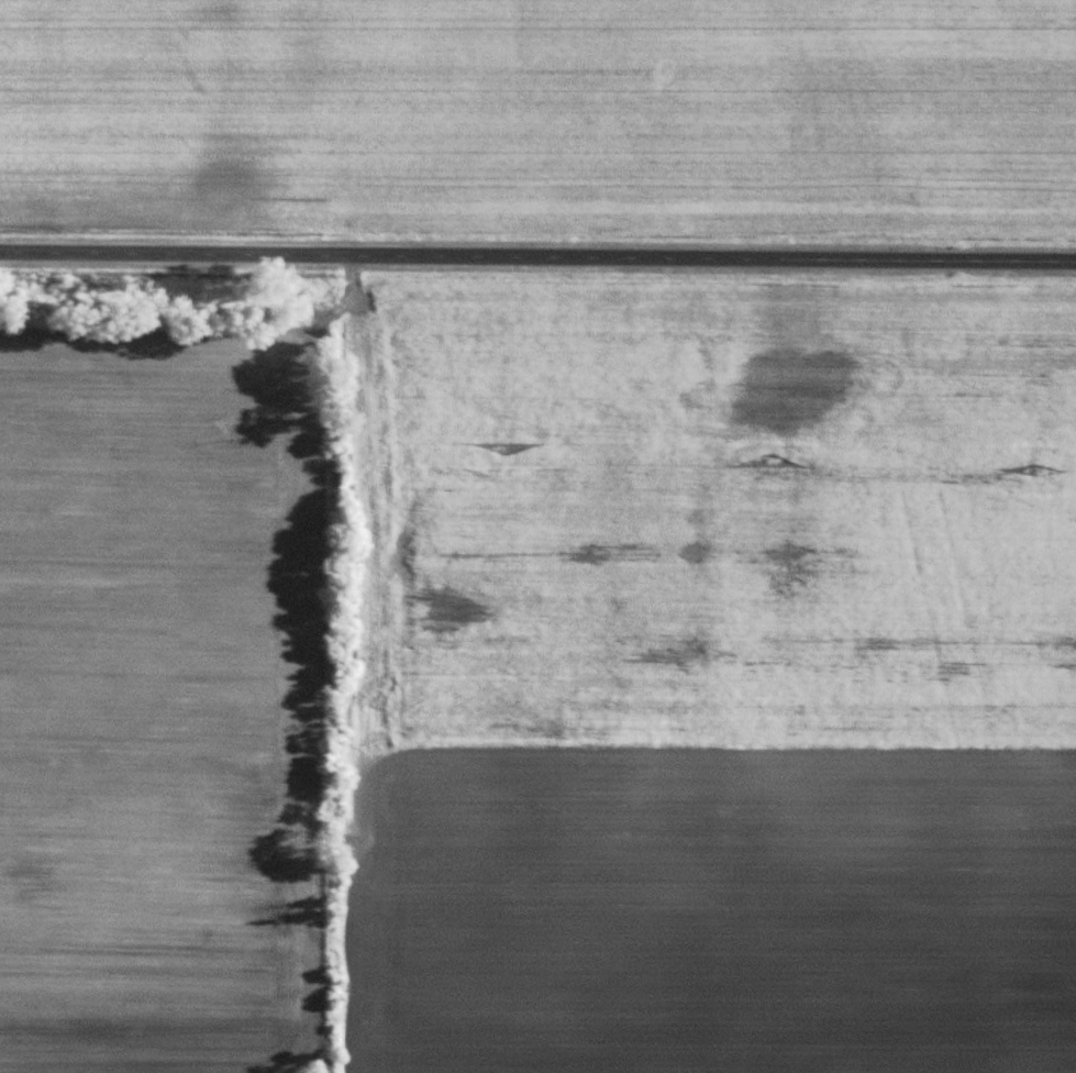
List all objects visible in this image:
road: (537, 255)

